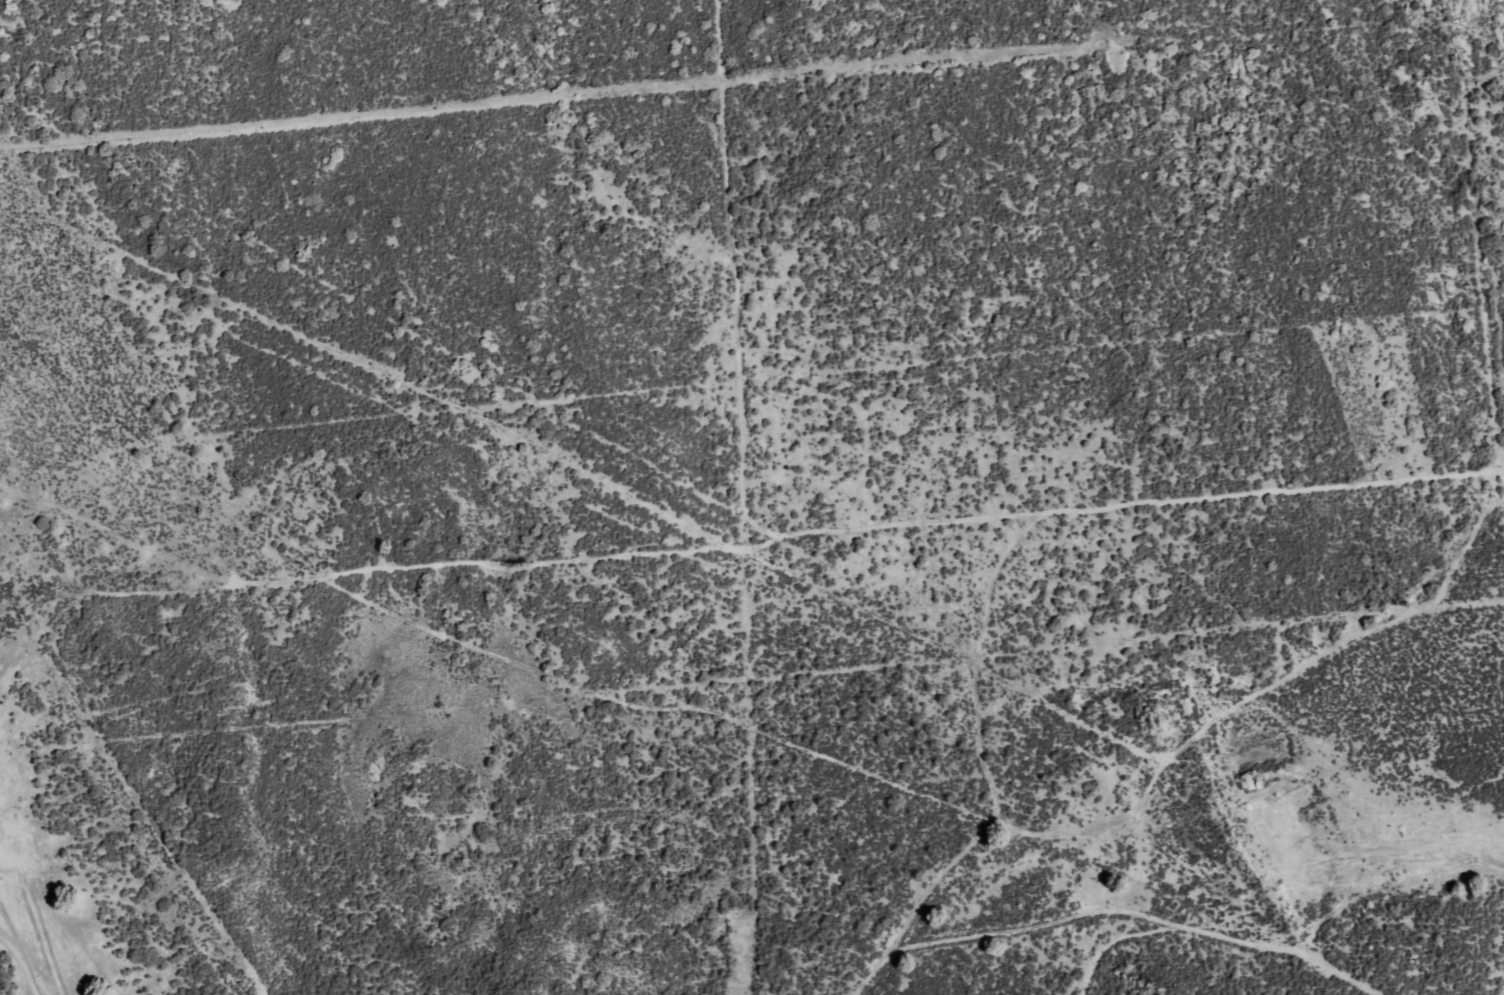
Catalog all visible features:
road: (21, 963)

